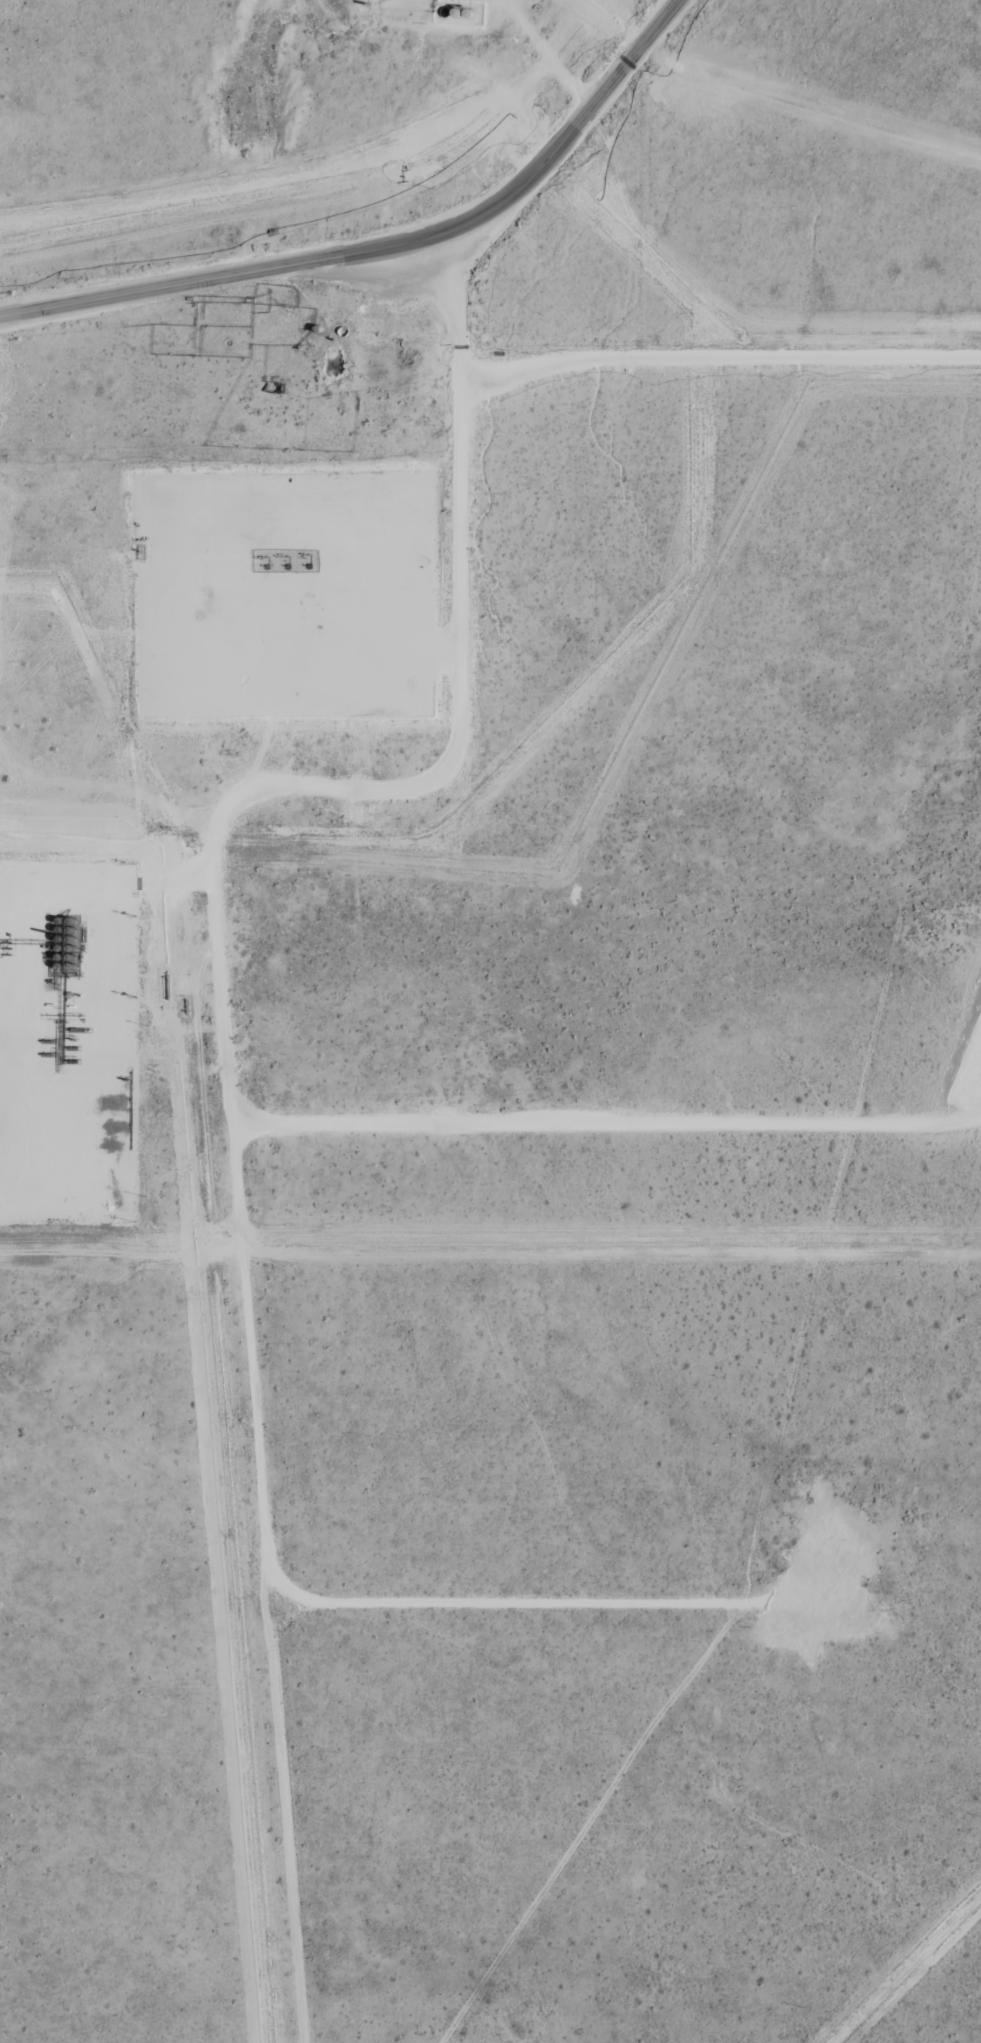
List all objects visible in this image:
road: (551, 55)
road: (385, 238)
road: (724, 351)
petroleum well: (266, 566)
petroleum well: (286, 566)
petroleum well: (307, 566)
road: (323, 614)
road: (208, 814)
road: (102, 991)
road: (607, 1118)
road: (549, 1603)

